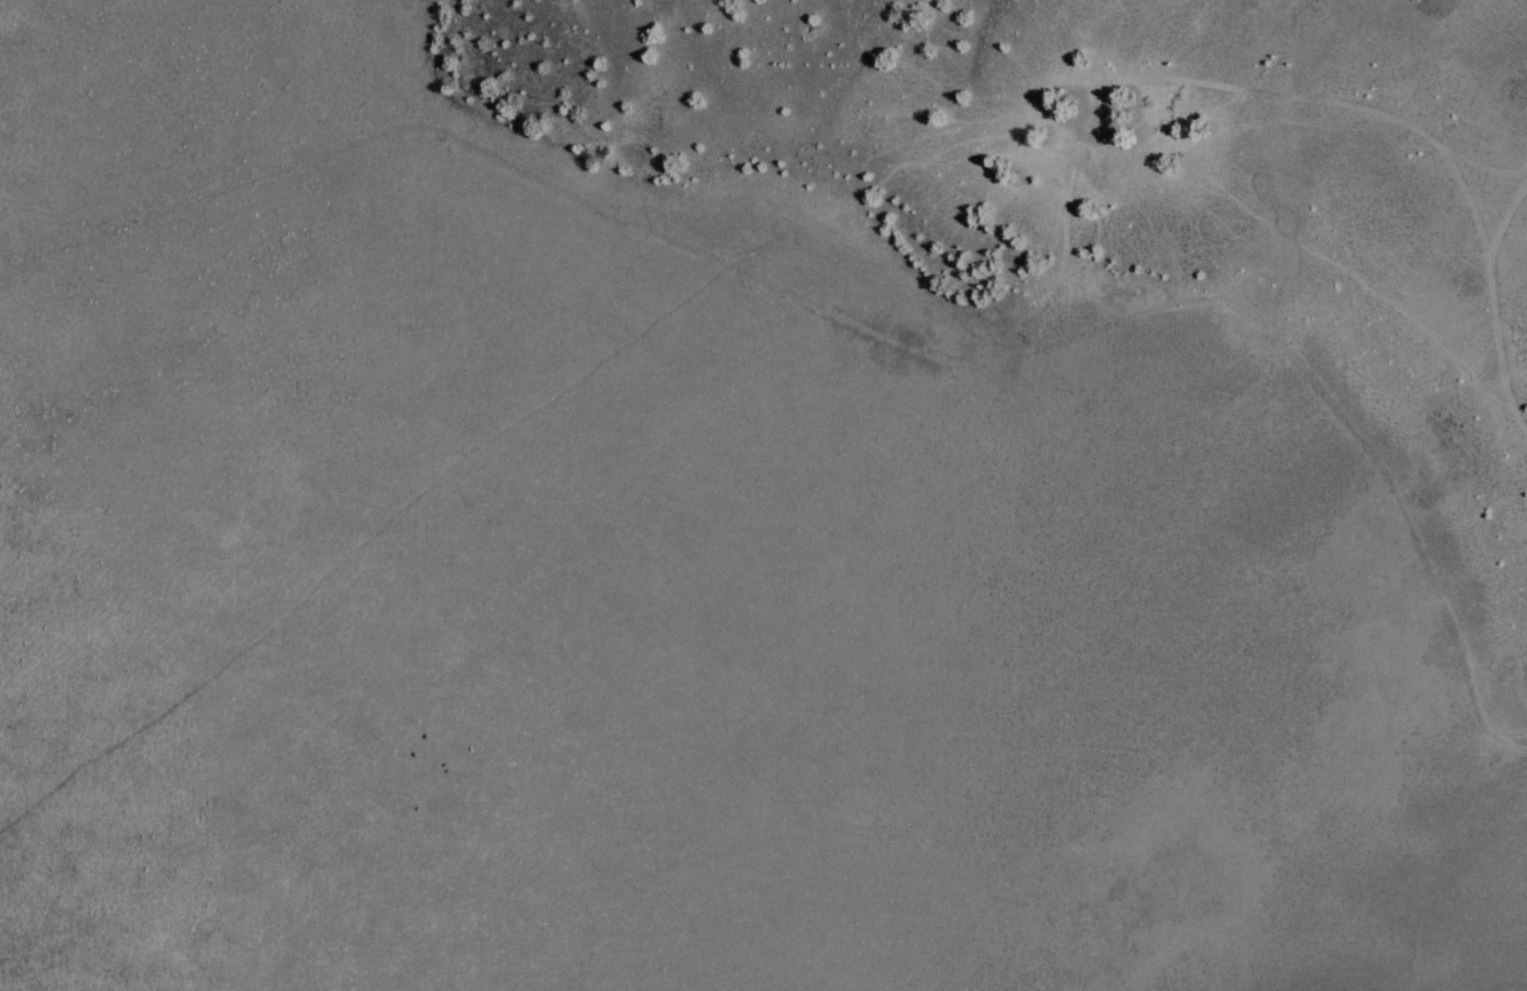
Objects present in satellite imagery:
road: (1495, 309)

